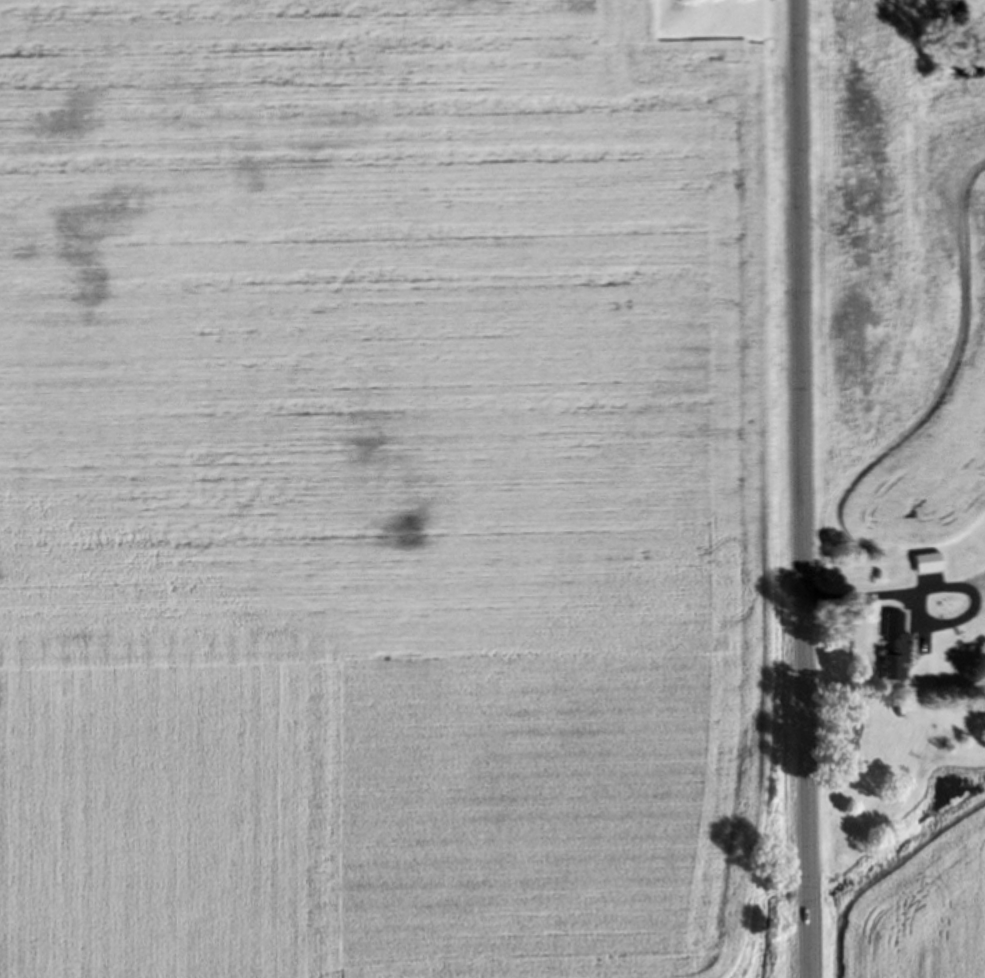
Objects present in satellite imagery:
road: (796, 489)
building: (923, 568)
road: (893, 599)
building: (891, 654)

